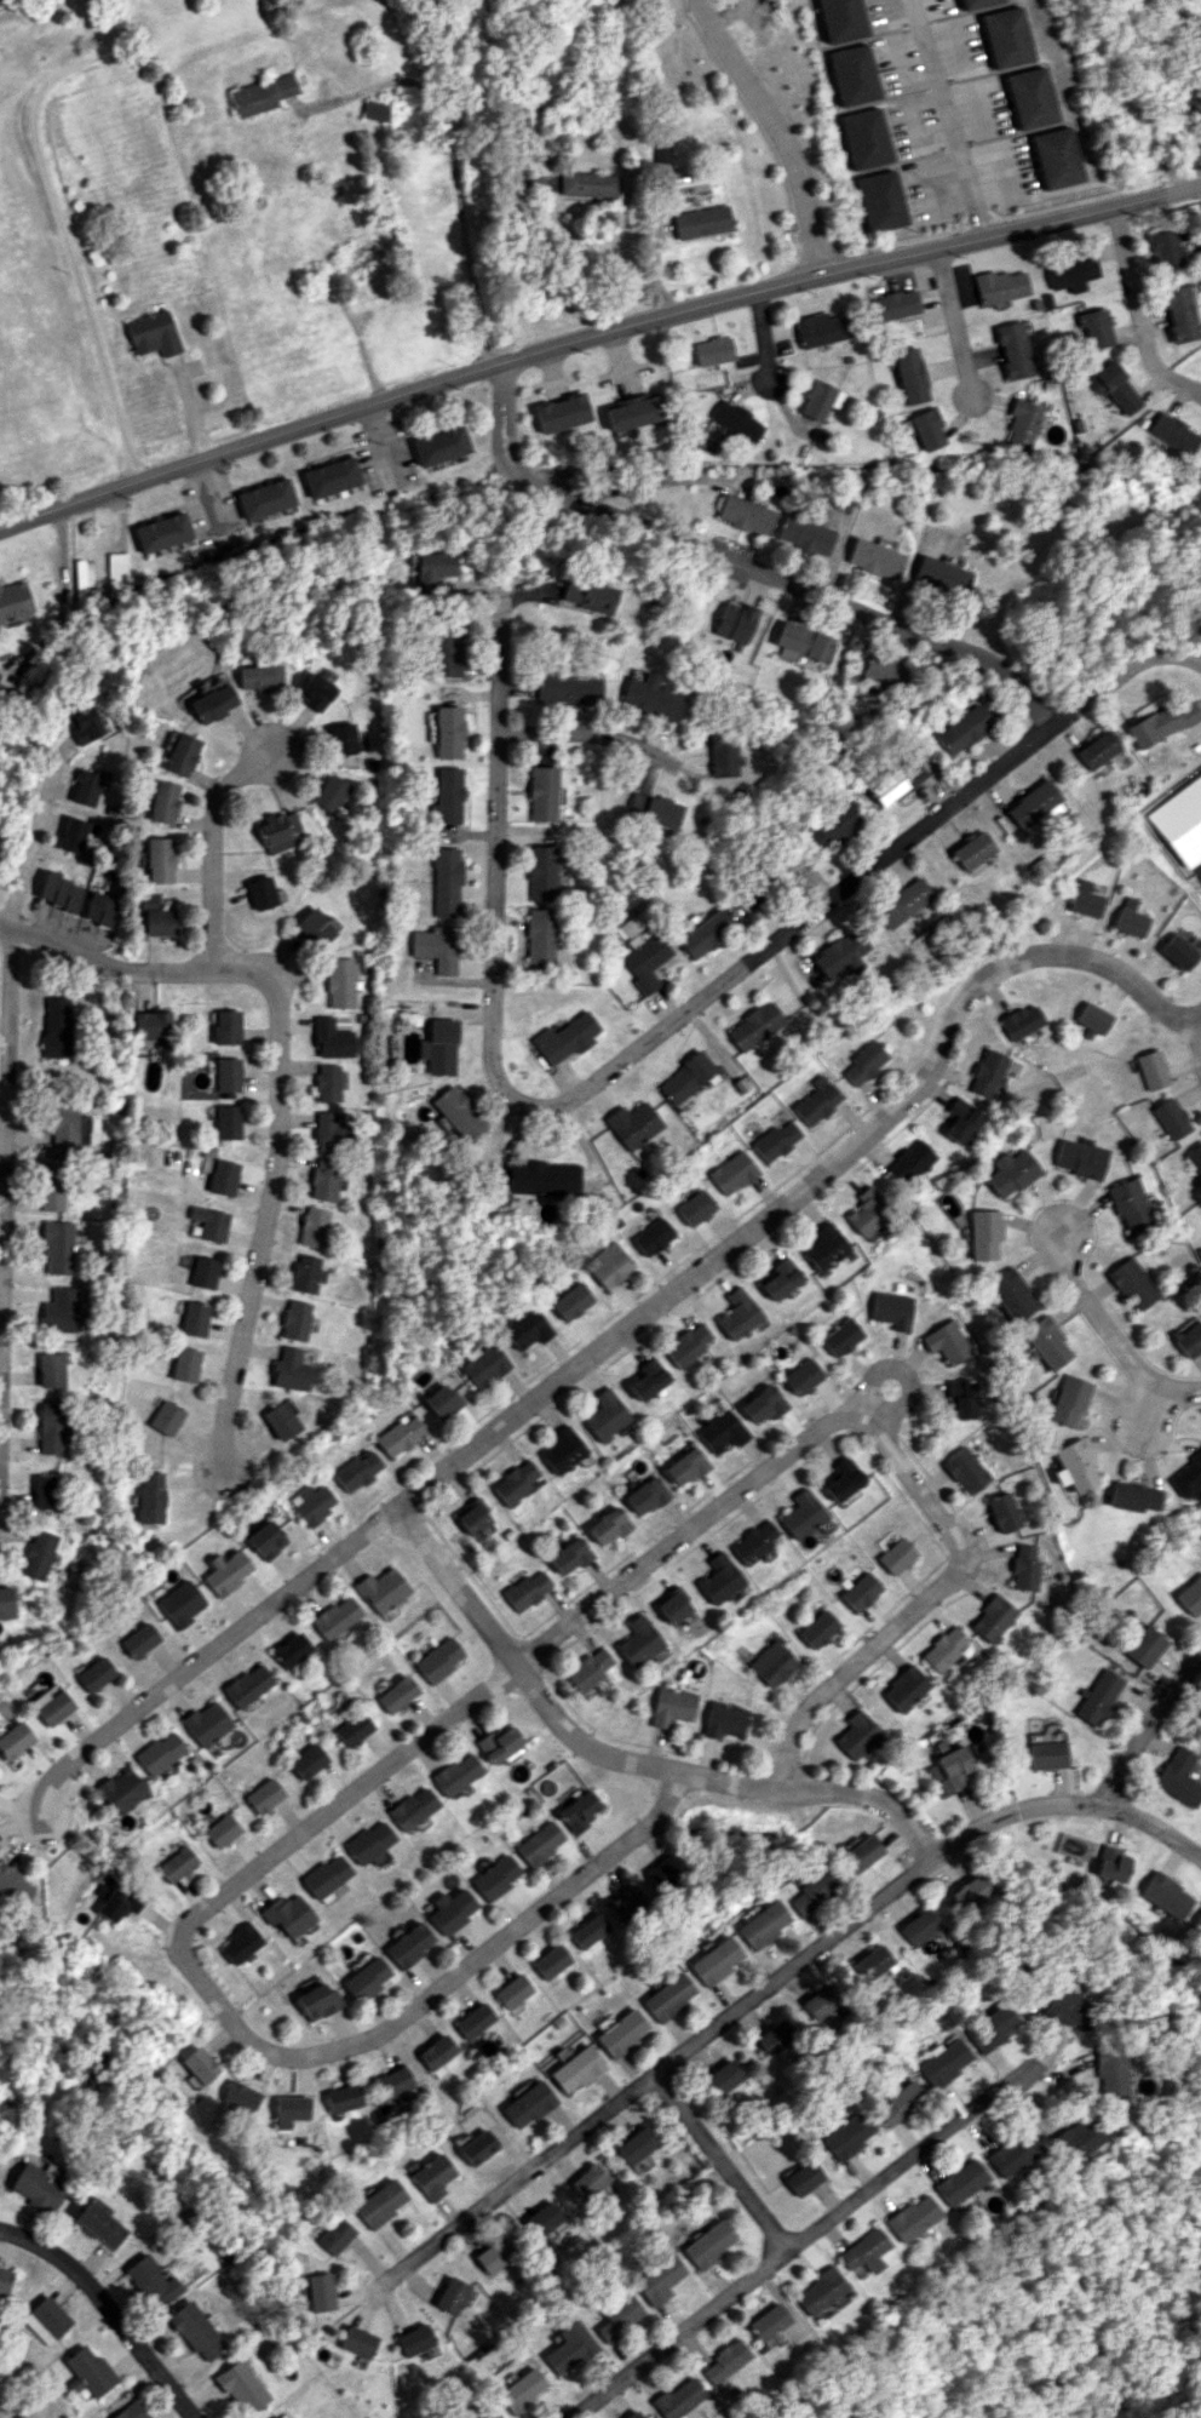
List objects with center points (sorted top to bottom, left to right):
building: (972, 2)
building: (839, 18)
building: (1005, 38)
building: (852, 75)
building: (260, 94)
building: (1029, 97)
building: (373, 110)
road: (954, 116)
road: (778, 132)
building: (863, 138)
building: (660, 153)
building: (1055, 156)
road: (448, 164)
building: (587, 183)
building: (879, 201)
road: (59, 219)
building: (701, 222)
building: (1163, 250)
road: (512, 270)
building: (1070, 271)
road: (1058, 273)
building: (999, 286)
building: (891, 305)
building: (1179, 313)
road: (1139, 315)
road: (954, 321)
building: (1094, 327)
building: (818, 328)
building: (153, 333)
road: (594, 338)
road: (766, 338)
building: (1012, 349)
building: (711, 353)
building: (909, 374)
building: (1114, 386)
building: (817, 400)
building: (633, 411)
building: (561, 413)
building: (735, 420)
building: (1022, 423)
building: (926, 429)
building: (1173, 432)
building: (438, 445)
building: (331, 476)
building: (265, 498)
building: (743, 515)
building: (161, 532)
building: (801, 533)
building: (873, 558)
road: (741, 567)
building: (116, 571)
building: (431, 571)
building: (939, 575)
building: (80, 579)
building: (585, 595)
building: (13, 600)
building: (731, 621)
building: (801, 641)
building: (447, 653)
building: (883, 671)
road: (1120, 672)
building: (258, 677)
building: (567, 689)
building: (314, 691)
building: (649, 697)
building: (212, 703)
building: (1162, 722)
building: (81, 724)
building: (962, 728)
building: (447, 732)
road: (575, 738)
building: (341, 739)
building: (1097, 749)
building: (182, 754)
building: (719, 755)
building: (893, 781)
building: (87, 786)
building: (541, 793)
building: (331, 795)
building: (446, 796)
building: (162, 802)
building: (1034, 807)
building: (651, 809)
road: (495, 815)
building: (829, 824)
building: (278, 831)
road: (33, 835)
building: (73, 835)
road: (207, 848)
building: (973, 850)
building: (159, 860)
building: (1038, 867)
building: (541, 871)
building: (446, 882)
building: (58, 892)
building: (260, 892)
building: (146, 899)
building: (1084, 899)
building: (903, 903)
building: (100, 909)
building: (1128, 918)
building: (159, 922)
building: (314, 927)
building: (705, 934)
building: (540, 936)
building: (437, 947)
building: (639, 951)
building: (1176, 951)
building: (841, 953)
road: (762, 956)
road: (131, 968)
building: (340, 982)
building: (1093, 1018)
building: (1022, 1021)
building: (150, 1024)
building: (56, 1025)
building: (225, 1026)
building: (754, 1026)
building: (331, 1038)
building: (565, 1038)
building: (439, 1047)
building: (864, 1062)
building: (1151, 1070)
building: (987, 1072)
building: (226, 1073)
building: (685, 1077)
building: (327, 1083)
building: (816, 1100)
building: (458, 1112)
building: (1171, 1118)
building: (960, 1119)
building: (226, 1122)
building: (61, 1124)
building: (633, 1125)
building: (328, 1130)
building: (776, 1140)
building: (1079, 1158)
building: (1195, 1159)
building: (908, 1162)
building: (1012, 1171)
building: (731, 1173)
building: (222, 1178)
building: (542, 1178)
building: (323, 1180)
road: (2, 1182)
building: (51, 1185)
building: (1130, 1202)
building: (694, 1208)
building: (866, 1211)
road: (266, 1219)
building: (208, 1222)
building: (311, 1226)
building: (984, 1233)
building: (651, 1237)
building: (57, 1247)
building: (823, 1247)
building: (608, 1265)
building: (202, 1272)
building: (301, 1273)
building: (780, 1278)
building: (1133, 1283)
building: (1011, 1295)
building: (571, 1301)
building: (891, 1310)
building: (61, 1311)
building: (737, 1314)
building: (192, 1318)
building: (293, 1319)
building: (525, 1328)
road: (611, 1335)
building: (839, 1336)
road: (1113, 1336)
building: (1188, 1336)
building: (947, 1342)
building: (1046, 1342)
building: (688, 1343)
building: (184, 1364)
building: (483, 1364)
building: (50, 1369)
building: (288, 1369)
building: (800, 1376)
building: (648, 1380)
building: (960, 1398)
building: (439, 1399)
building: (1067, 1399)
building: (760, 1404)
building: (605, 1415)
building: (165, 1417)
building: (278, 1421)
building: (50, 1428)
building: (722, 1431)
building: (398, 1436)
building: (562, 1450)
building: (685, 1466)
building: (1071, 1466)
building: (356, 1471)
building: (964, 1471)
building: (1185, 1474)
building: (838, 1479)
building: (513, 1483)
road: (747, 1489)
building: (45, 1491)
building: (645, 1495)
building: (150, 1496)
building: (1131, 1496)
building: (310, 1503)
building: (1002, 1512)
building: (799, 1514)
building: (471, 1517)
building: (608, 1525)
building: (264, 1540)
building: (751, 1542)
building: (36, 1554)
building: (569, 1555)
building: (893, 1555)
building: (1023, 1568)
building: (225, 1571)
building: (718, 1578)
building: (380, 1589)
building: (524, 1589)
building: (857, 1592)
building: (1190, 1595)
building: (6, 1602)
building: (179, 1603)
building: (671, 1605)
building: (334, 1617)
building: (990, 1618)
building: (816, 1629)
building: (139, 1640)
building: (637, 1641)
building: (1143, 1645)
building: (942, 1648)
building: (291, 1650)
road: (866, 1655)
building: (436, 1660)
building: (770, 1662)
building: (587, 1668)
building: (94, 1674)
building: (248, 1685)
building: (902, 1688)
building: (395, 1694)
building: (1098, 1696)
building: (670, 1706)
building: (53, 1707)
building: (1199, 1712)
building: (722, 1719)
building: (207, 1724)
building: (351, 1729)
road: (1145, 1729)
building: (855, 1735)
building: (13, 1740)
building: (496, 1743)
building: (976, 1747)
road: (613, 1752)
building: (160, 1753)
building: (1045, 1754)
building: (306, 1760)
building: (953, 1765)
building: (454, 1774)
building: (1178, 1776)
building: (120, 1790)
building: (263, 1795)
building: (410, 1809)
building: (576, 1810)
building: (220, 1829)
building: (367, 1841)
building: (538, 1843)
building: (860, 1852)
building: (176, 1864)
building: (1110, 1864)
building: (661, 1870)
building: (323, 1875)
building: (494, 1876)
building: (15, 1885)
building: (810, 1891)
building: (967, 1893)
building: (1163, 1896)
building: (116, 1902)
building: (625, 1903)
building: (449, 1909)
building: (285, 1914)
building: (1196, 1923)
building: (760, 1924)
building: (916, 1926)
building: (587, 1931)
building: (236, 1943)
building: (407, 1944)
building: (550, 1961)
building: (713, 1961)
building: (870, 1961)
road: (764, 1977)
building: (363, 1978)
building: (511, 1990)
building: (667, 1996)
building: (314, 2001)
building: (821, 2001)
building: (1065, 2009)
building: (471, 2021)
building: (988, 2027)
road: (236, 2033)
building: (621, 2033)
building: (775, 2038)
building: (433, 2051)
building: (942, 2062)
building: (197, 2065)
building: (574, 2069)
building: (1107, 2069)
building: (723, 2076)
building: (392, 2082)
building: (240, 2096)
building: (341, 2098)
building: (898, 2103)
building: (527, 2104)
building: (289, 2110)
building: (847, 2135)
building: (1078, 2136)
building: (634, 2144)
building: (476, 2147)
building: (1011, 2153)
road: (717, 2162)
building: (640, 2164)
building: (430, 2176)
building: (801, 2177)
building: (588, 2181)
building: (958, 2182)
building: (36, 2188)
building: (378, 2202)
building: (910, 2217)
building: (544, 2218)
building: (98, 2224)
building: (333, 2235)
road: (799, 2240)
building: (708, 2245)
building: (863, 2251)
building: (493, 2254)
building: (657, 2279)
building: (5, 2280)
building: (150, 2282)
building: (318, 2291)
building: (818, 2291)
building: (450, 2294)
road: (105, 2310)
building: (619, 2316)
building: (46, 2320)
building: (768, 2321)
building: (196, 2331)
building: (413, 2339)
building: (356, 2342)
building: (567, 2348)
building: (725, 2360)
building: (88, 2371)
building: (240, 2387)
building: (521, 2389)
building: (677, 2399)
building: (131, 2411)
building: (484, 2412)
building: (633, 2414)
building: (280, 2416)

